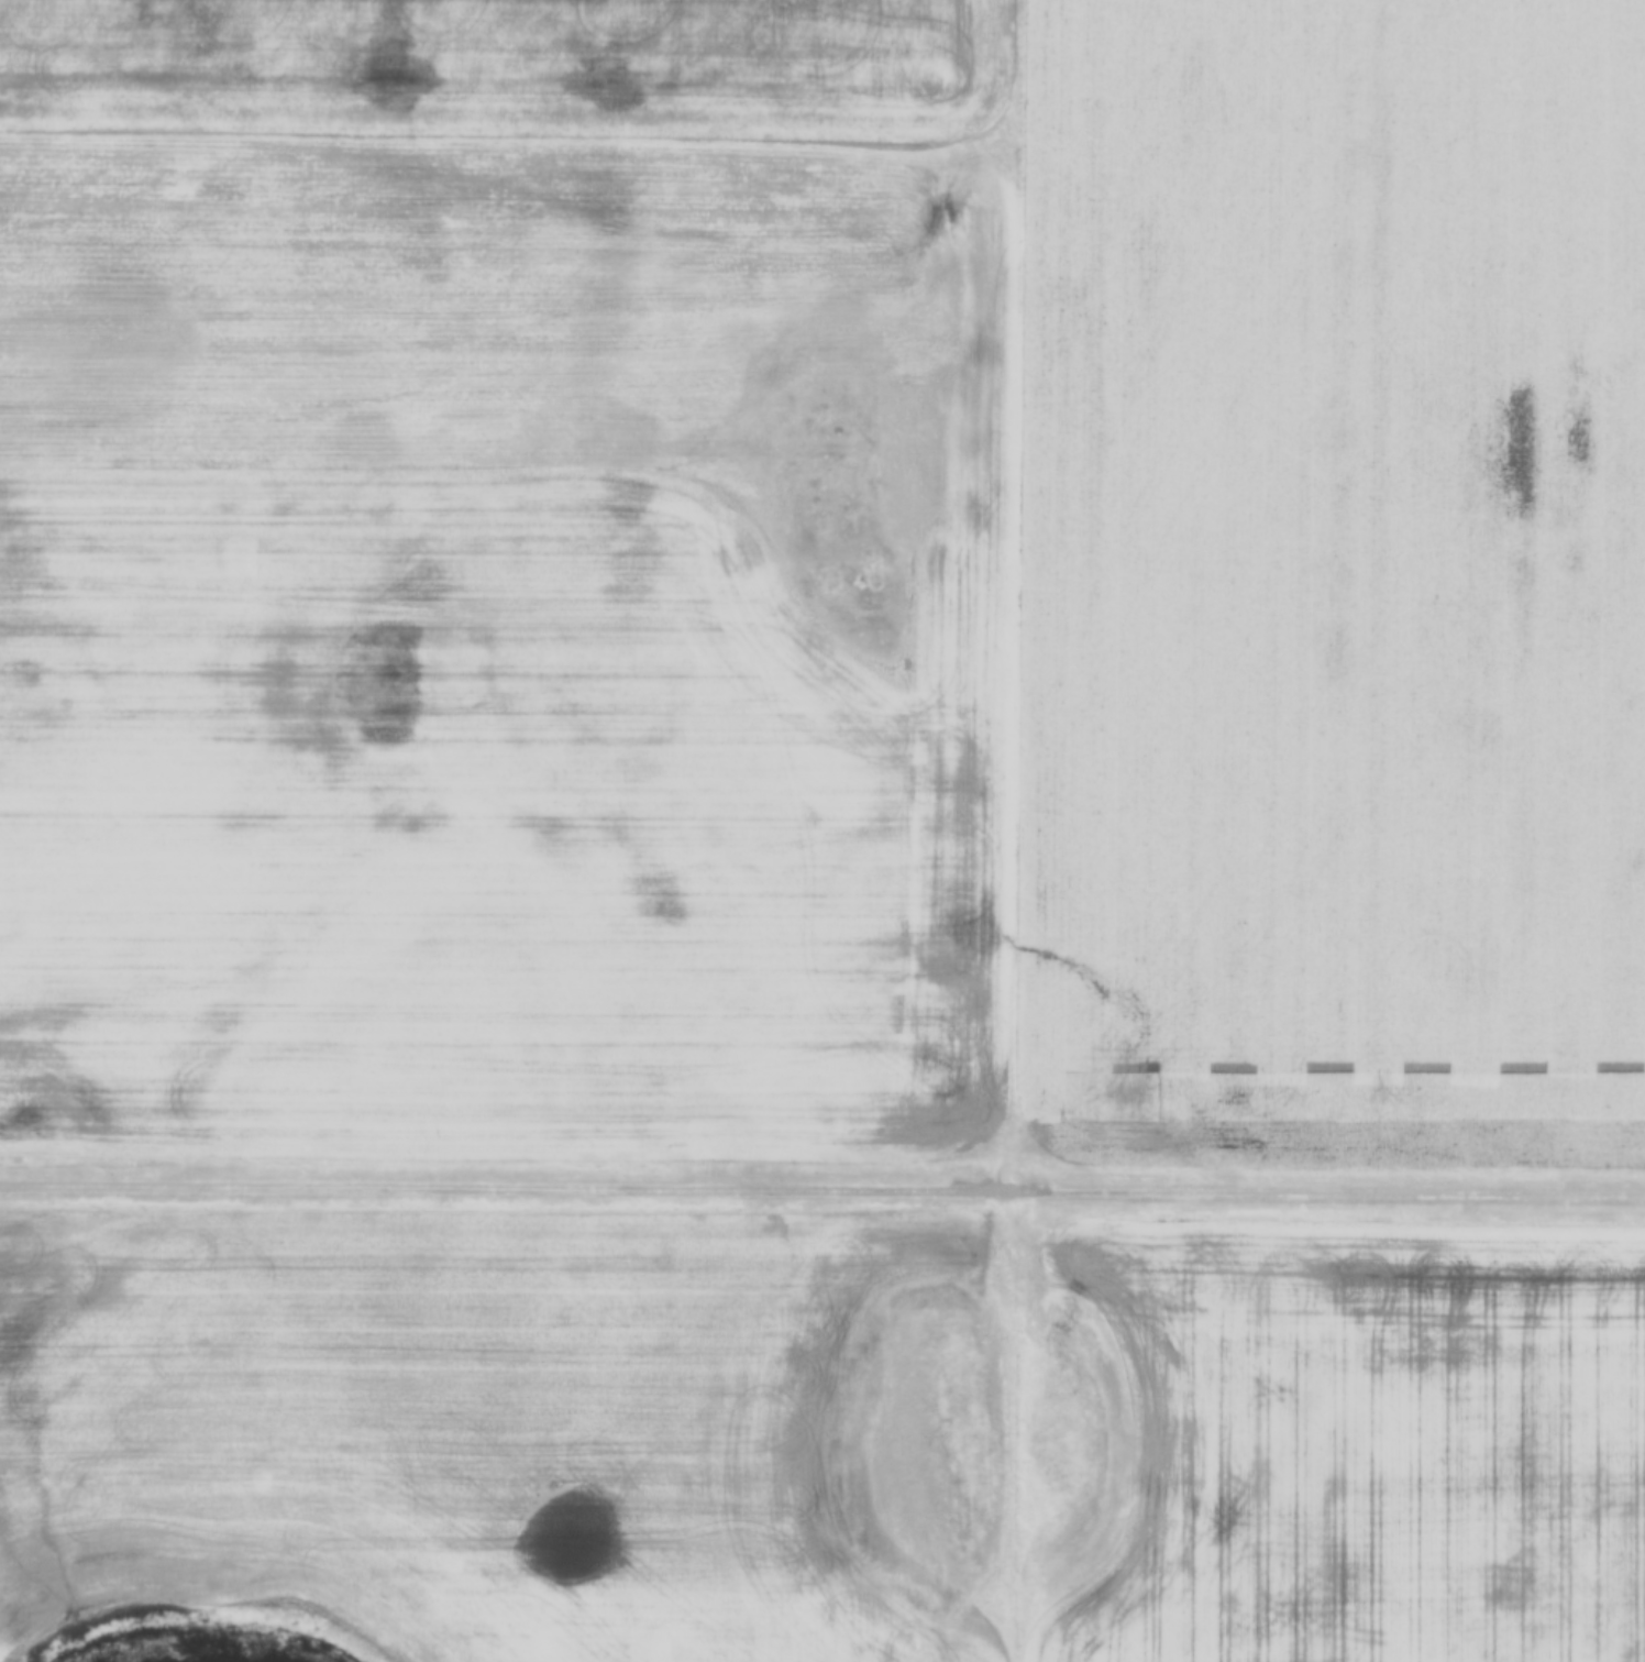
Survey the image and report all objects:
road: (822, 1192)

